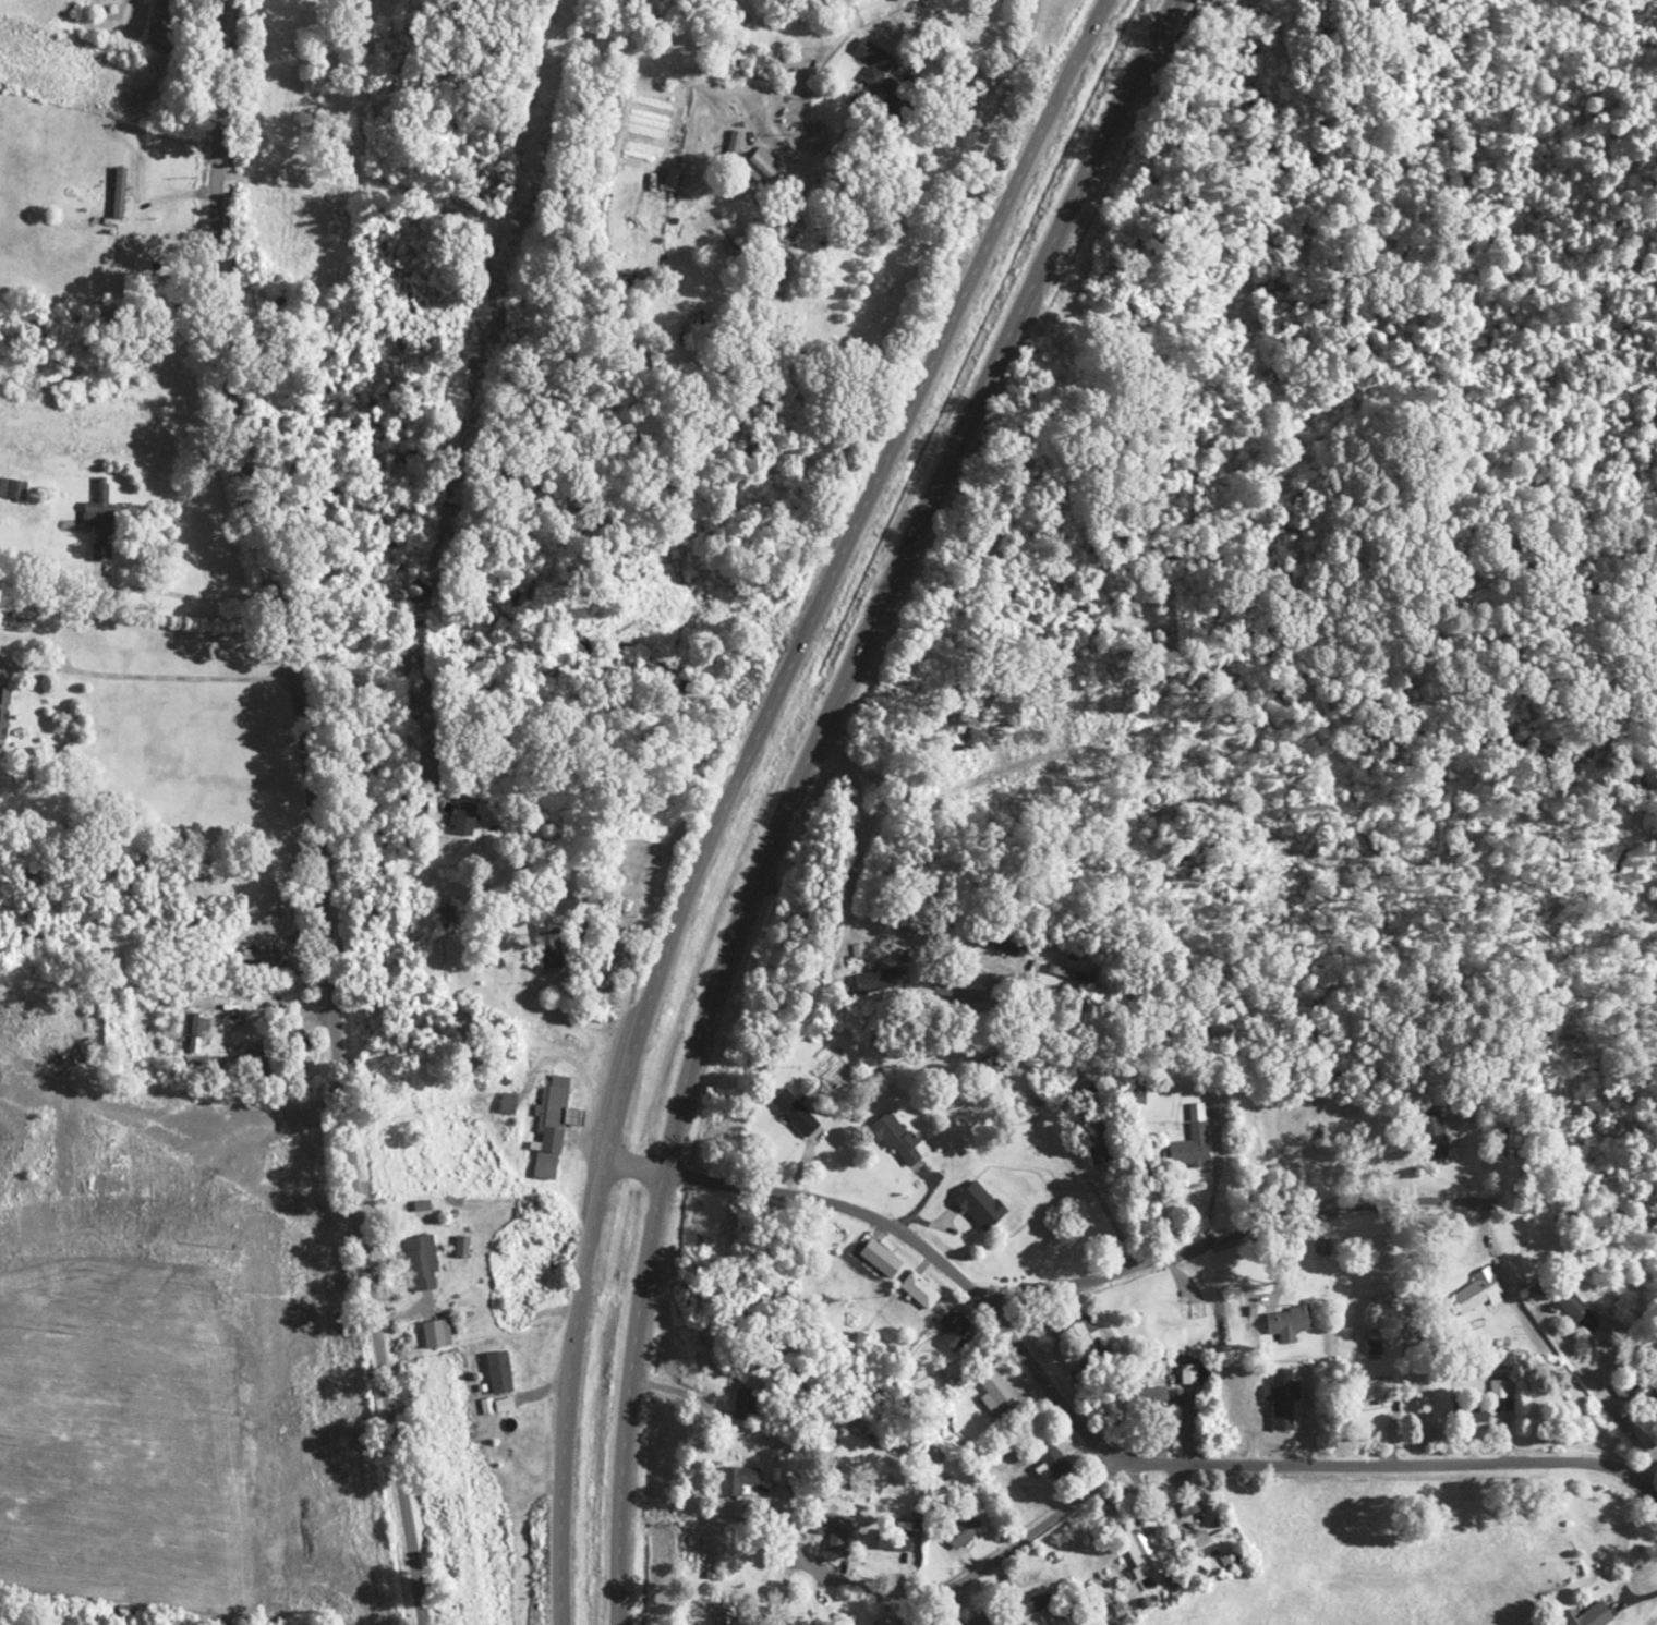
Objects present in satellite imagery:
road: (730, 780)
road: (797, 781)
road: (301, 812)
building: (875, 981)
building: (505, 1103)
building: (794, 1111)
building: (548, 1127)
building: (894, 1137)
building: (1192, 1139)
building: (976, 1205)
road: (1146, 1247)
building: (878, 1257)
building: (421, 1262)
building: (916, 1289)
building: (1469, 1293)
building: (1577, 1313)
building: (1281, 1322)
building: (951, 1330)
building: (435, 1333)
building: (1080, 1335)
building: (498, 1371)
building: (1185, 1373)
building: (1372, 1388)
building: (992, 1391)
building: (1140, 1399)
building: (1469, 1411)
road: (1091, 1446)
building: (1044, 1457)
building: (733, 1480)
building: (957, 1533)
road: (957, 1584)
building: (1024, 1603)
building: (722, 1613)
building: (1584, 1615)
building: (975, 1621)

